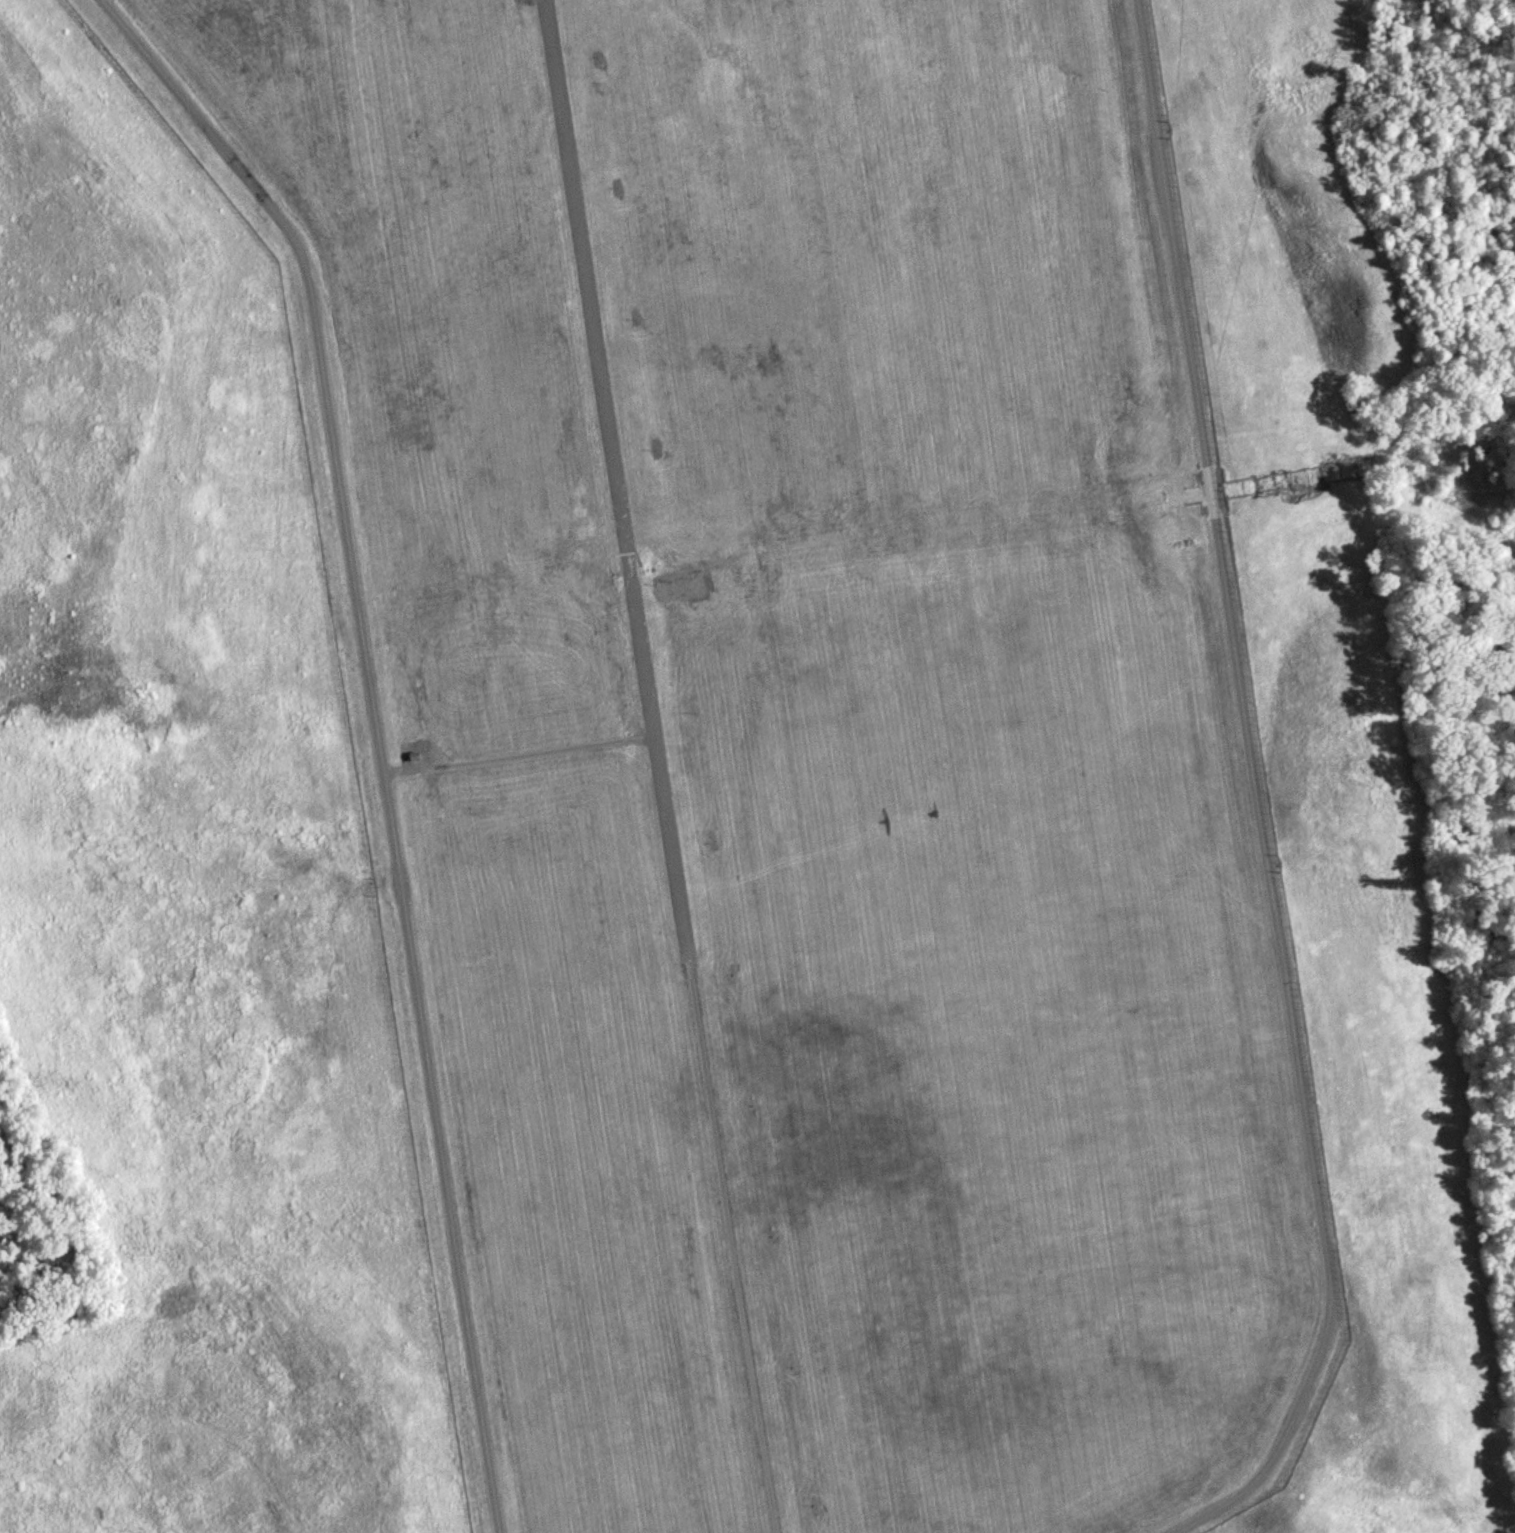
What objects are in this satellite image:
road: (378, 734)
airport: (794, 749)
road: (519, 753)
road: (658, 766)
road: (1255, 794)

